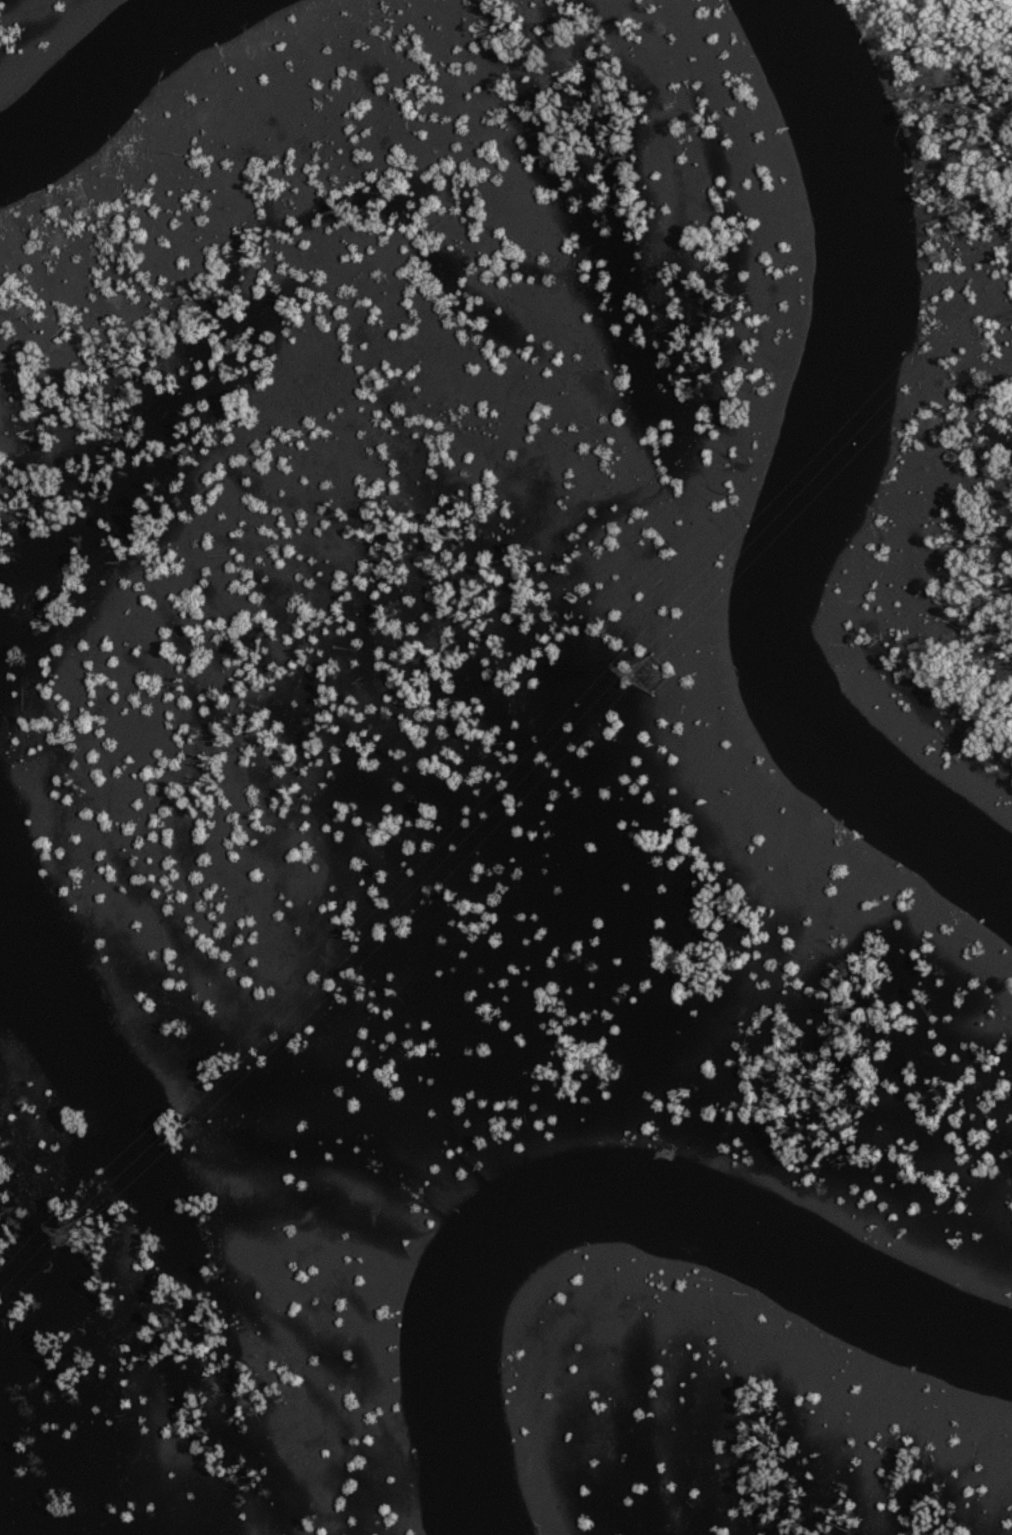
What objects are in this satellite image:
river: (100, 70)
river: (802, 487)
power tower: (657, 672)
river: (614, 1208)
power tower: (91, 1235)

